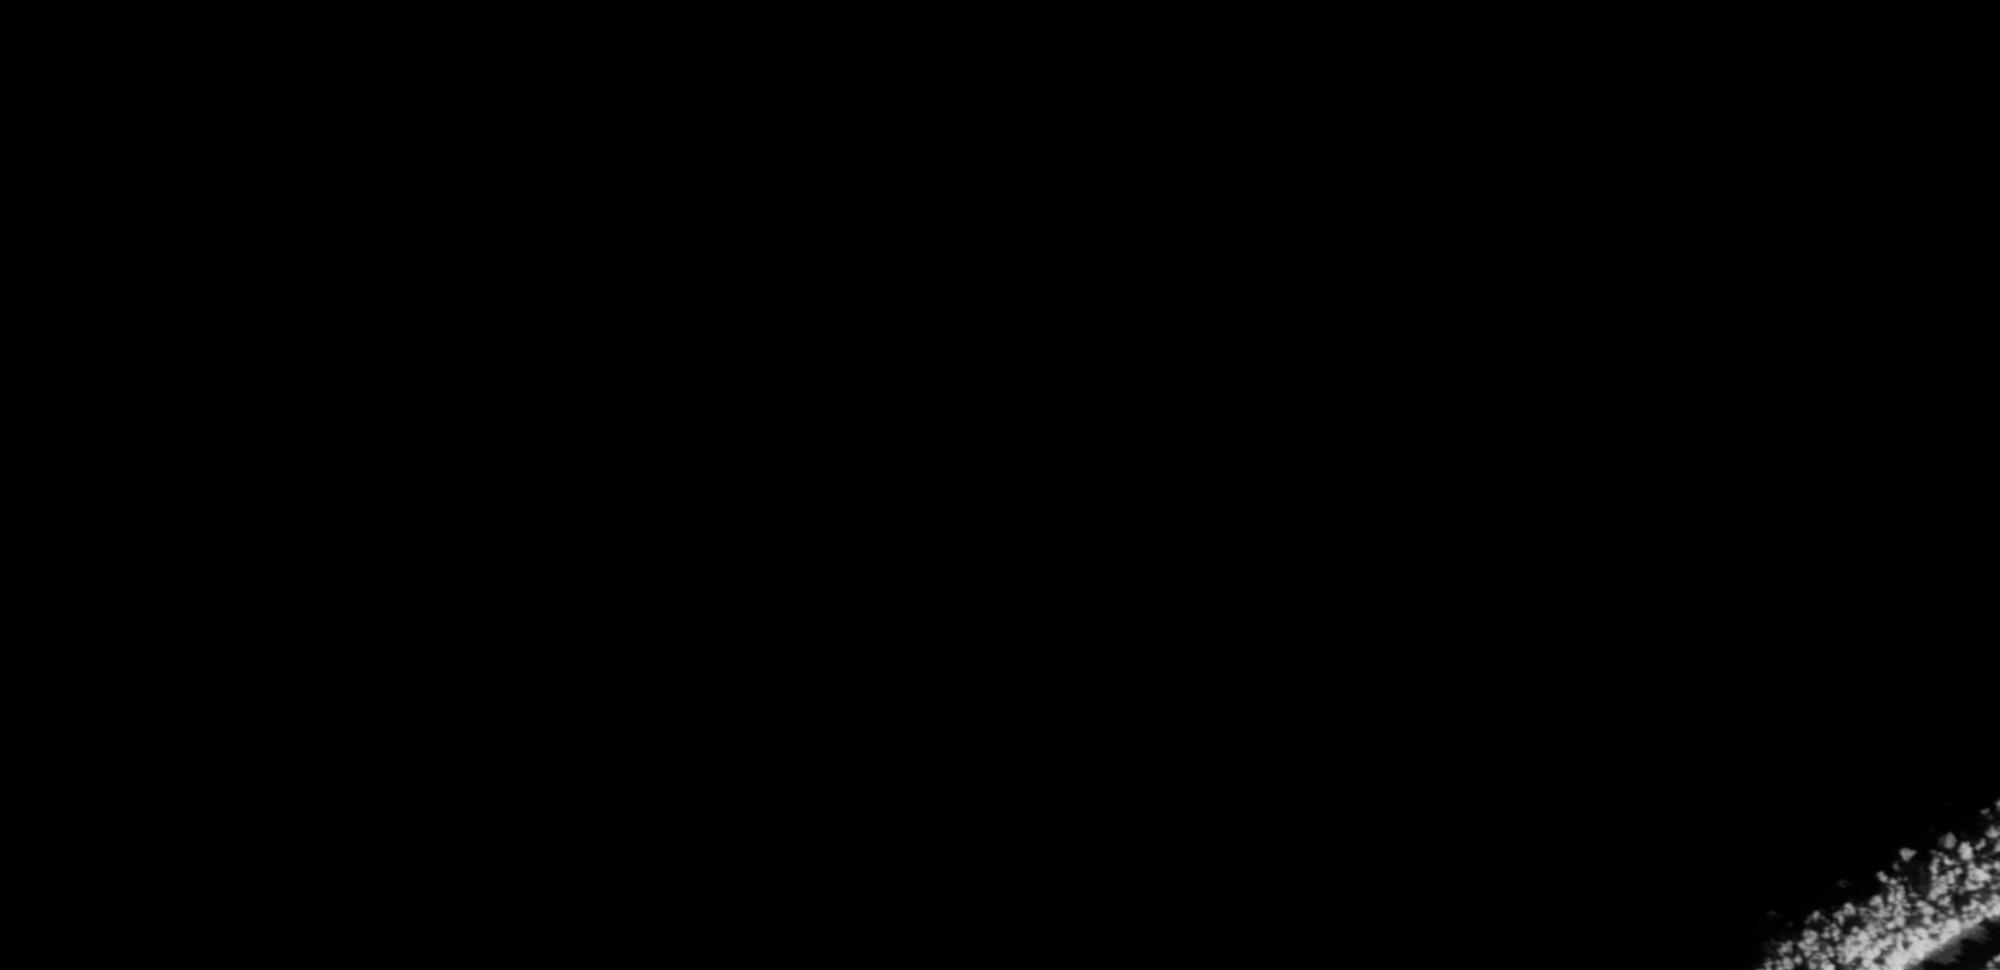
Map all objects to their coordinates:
road: (1965, 950)

